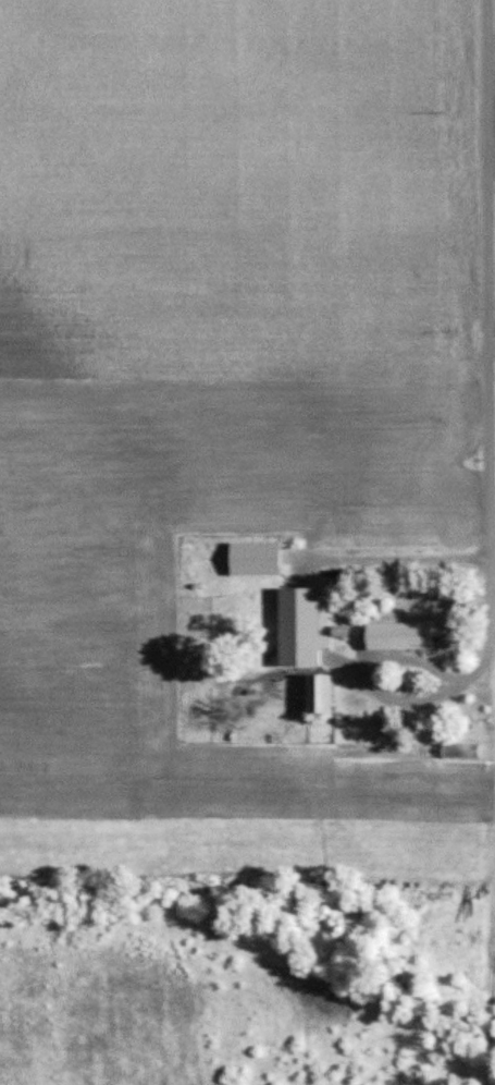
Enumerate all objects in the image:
road: (487, 297)
road: (385, 559)
building: (300, 625)
building: (400, 634)
building: (319, 692)
road: (407, 698)

